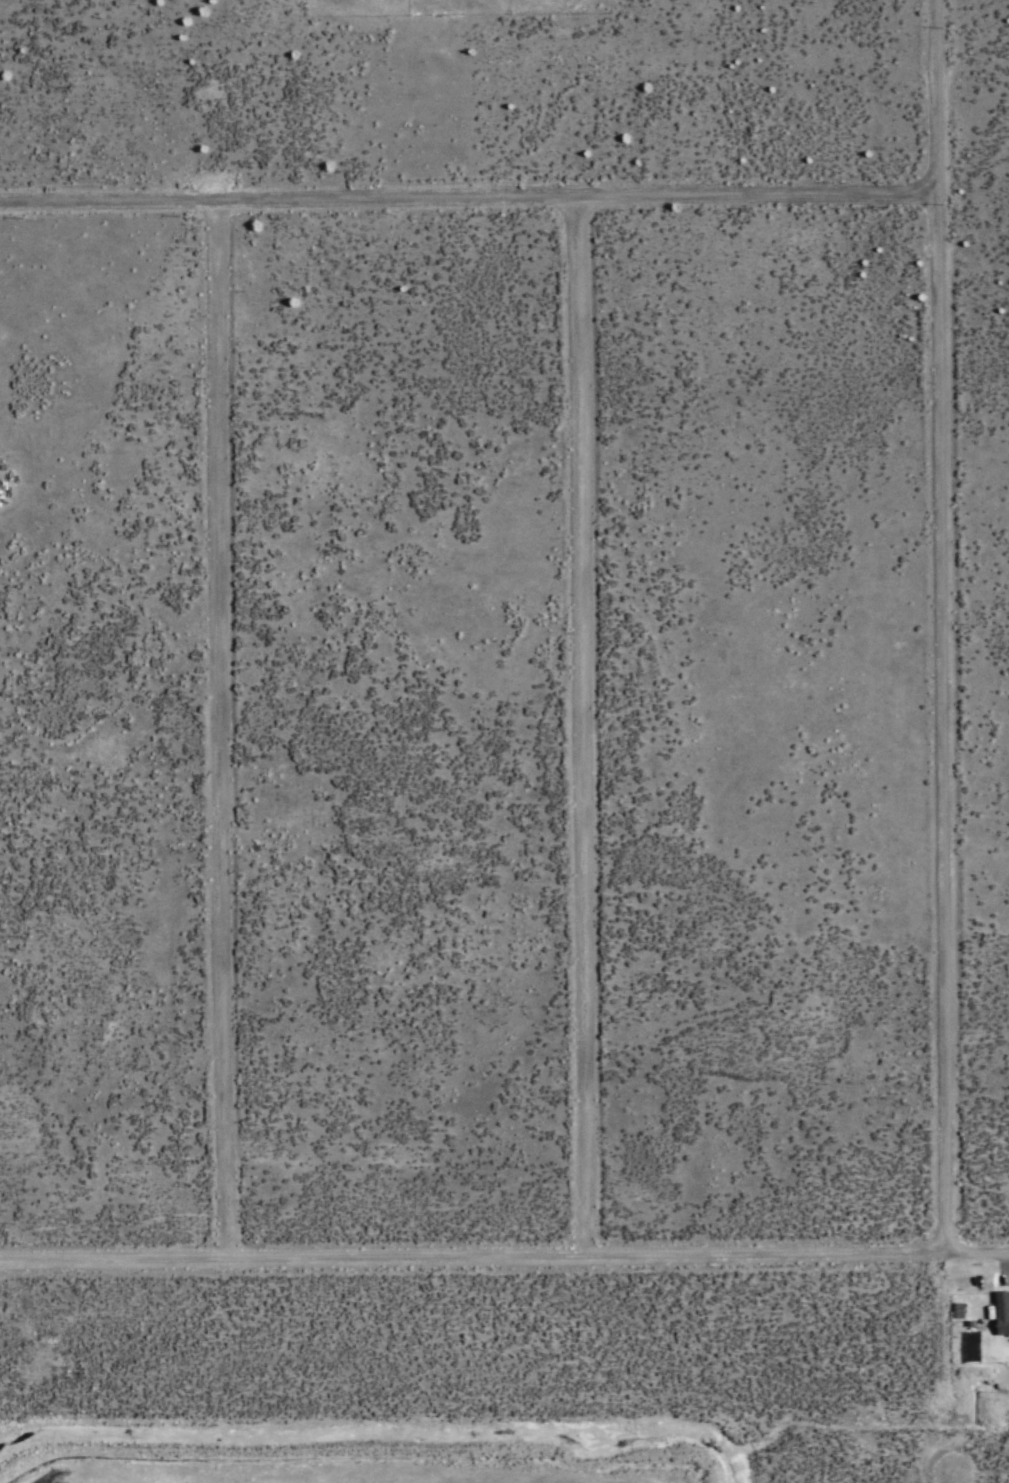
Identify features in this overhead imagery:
road: (975, 109)
road: (470, 200)
road: (949, 723)
road: (587, 729)
road: (225, 732)
road: (504, 1260)
building: (1003, 1313)
road: (958, 1480)

